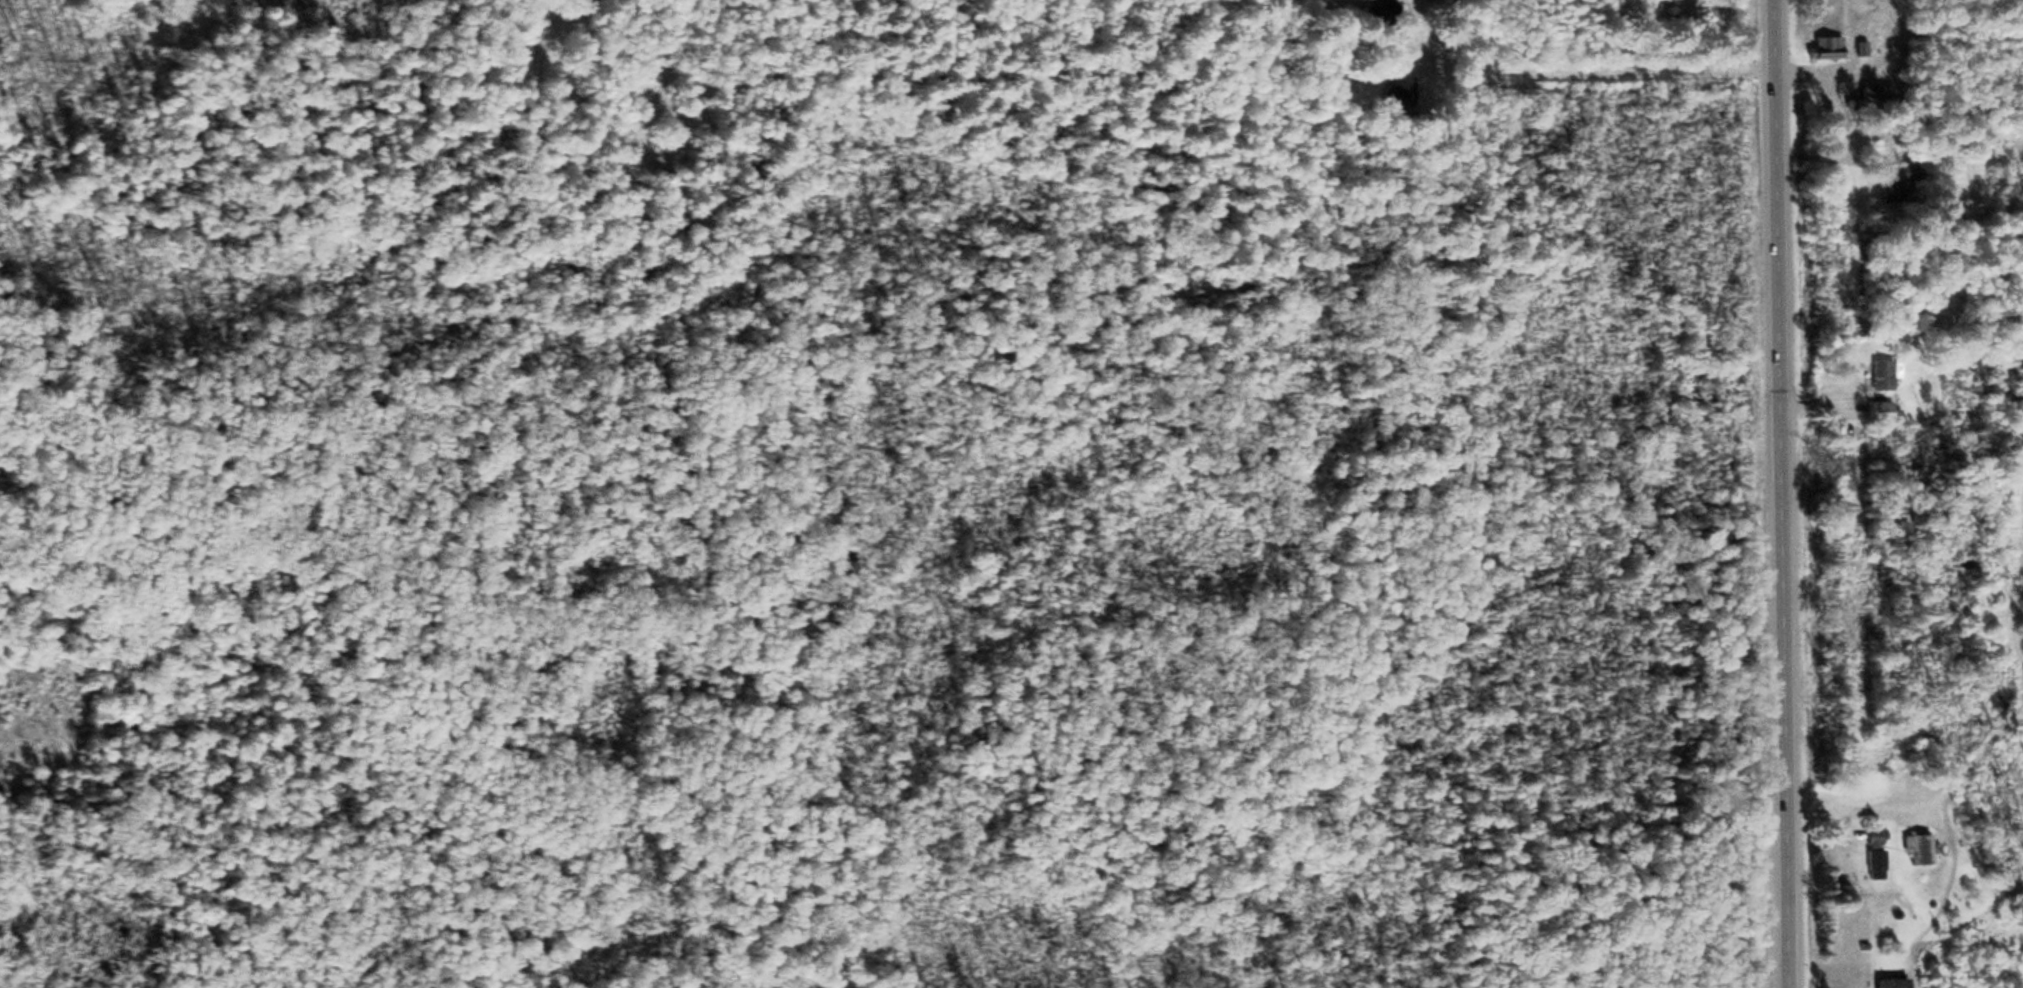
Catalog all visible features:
building: (1380, 19)
building: (1831, 47)
building: (1904, 185)
building: (1887, 375)
building: (1884, 412)
road: (1788, 494)
building: (1921, 850)
building: (1877, 853)
building: (1897, 983)

